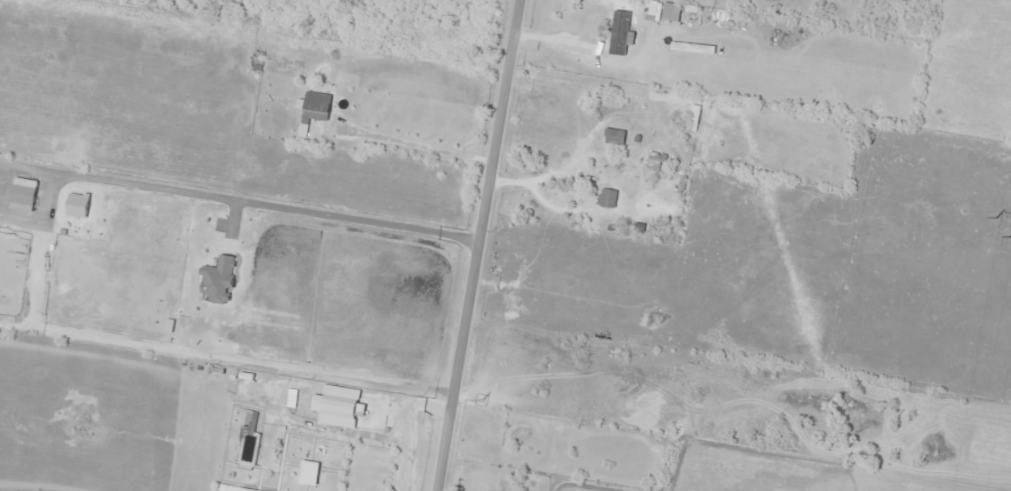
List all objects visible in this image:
building: (670, 12)
building: (314, 109)
building: (614, 137)
building: (22, 195)
building: (606, 198)
power tower: (1010, 237)
road: (483, 245)
building: (334, 406)

